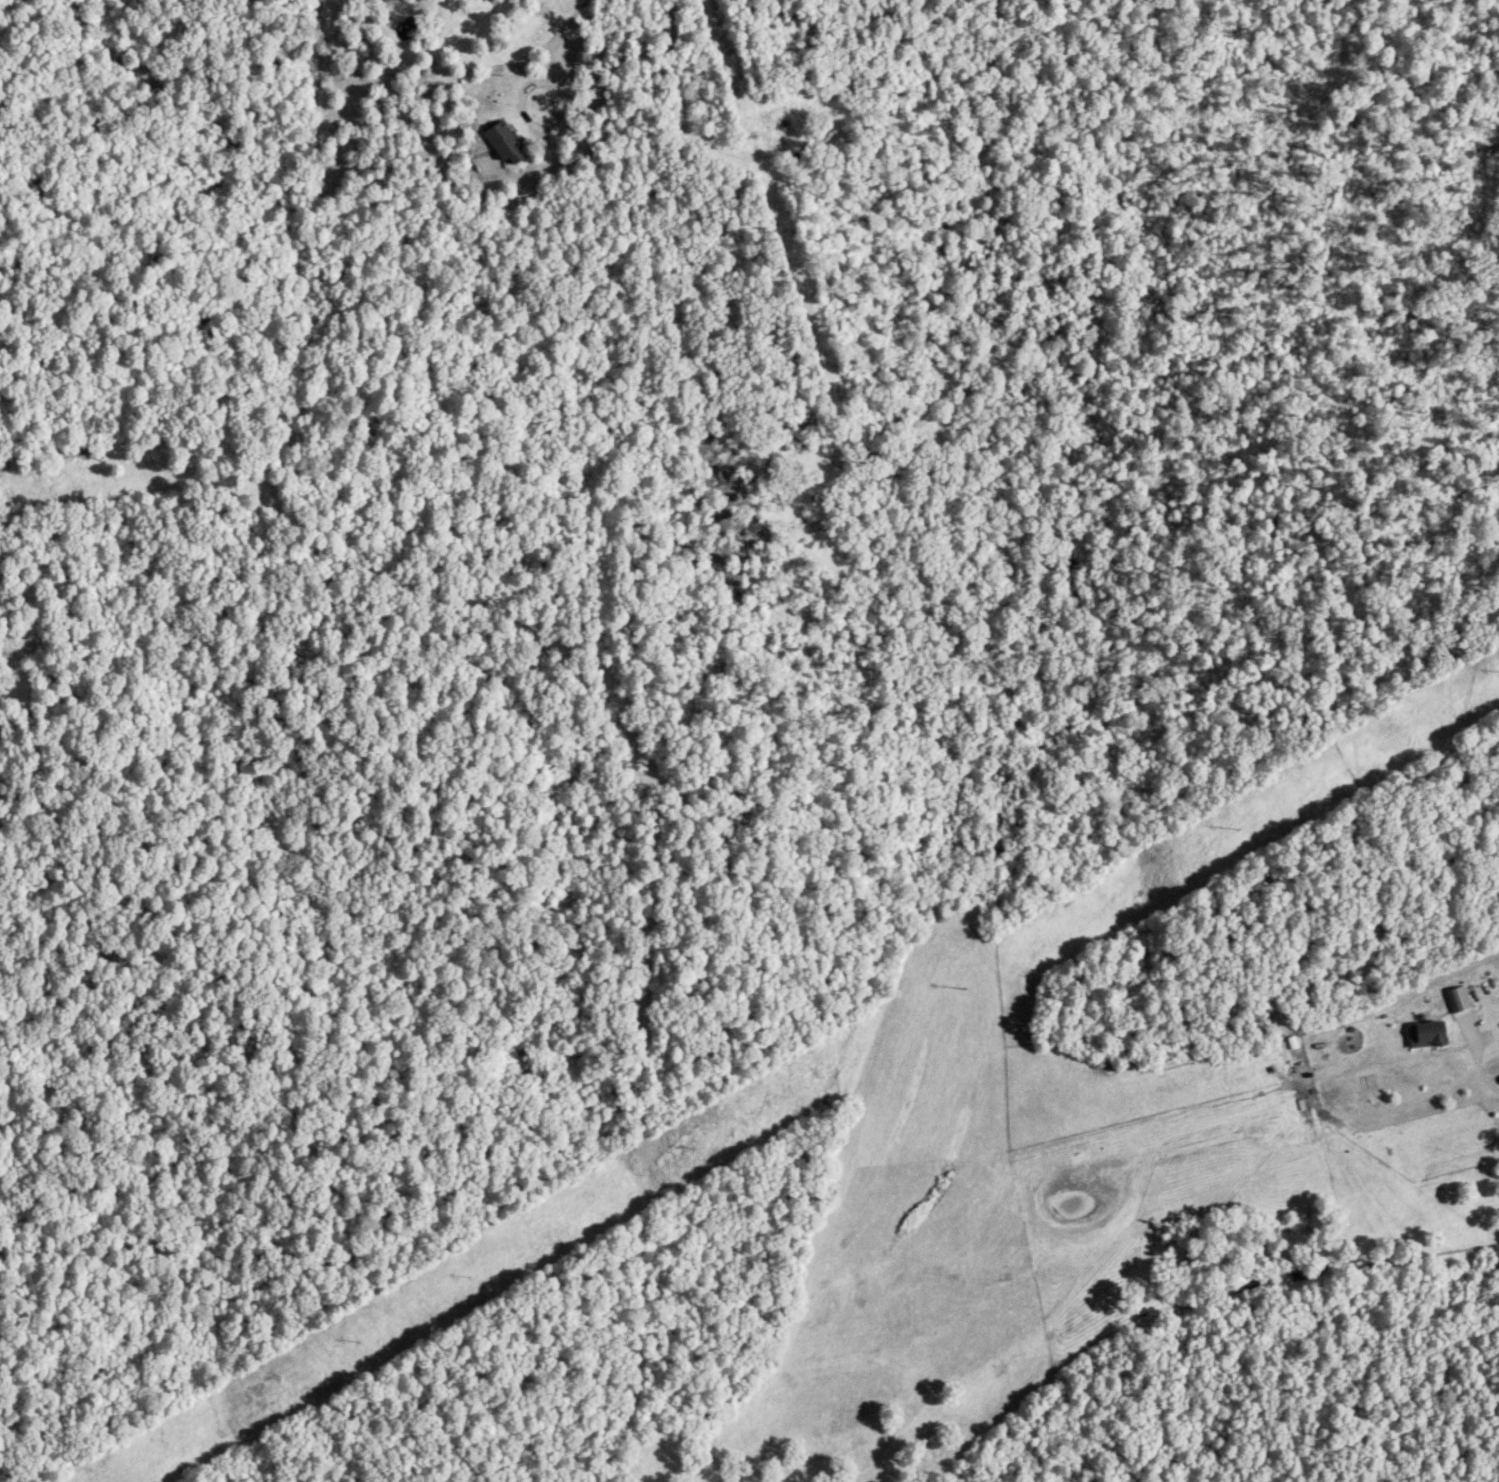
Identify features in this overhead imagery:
road: (639, 46)
road: (527, 103)
building: (500, 144)
power tower: (1233, 831)
power tower: (961, 987)
building: (1456, 1002)
building: (1422, 1035)
road: (1476, 1059)
power tower: (683, 1149)
power tower: (461, 1277)
power tower: (353, 1342)

